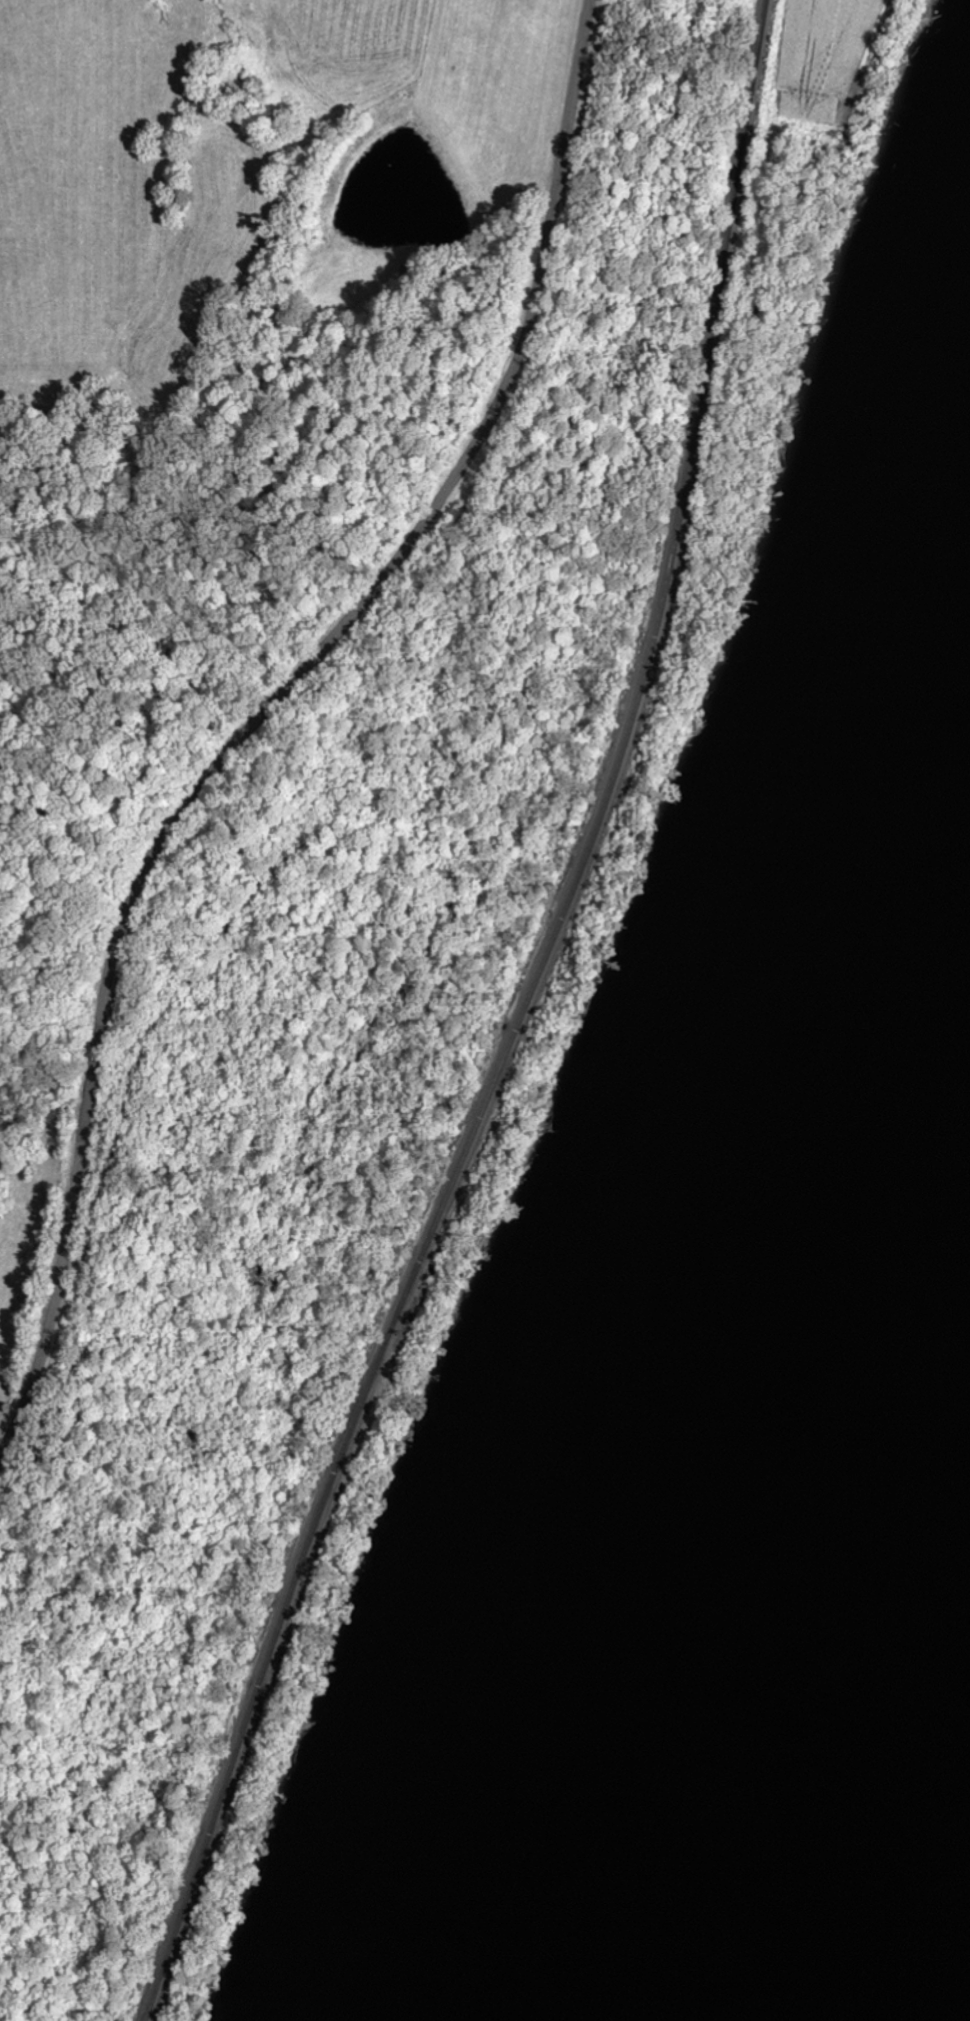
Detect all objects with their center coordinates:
road: (265, 716)
railway: (465, 1022)
river: (837, 1645)

